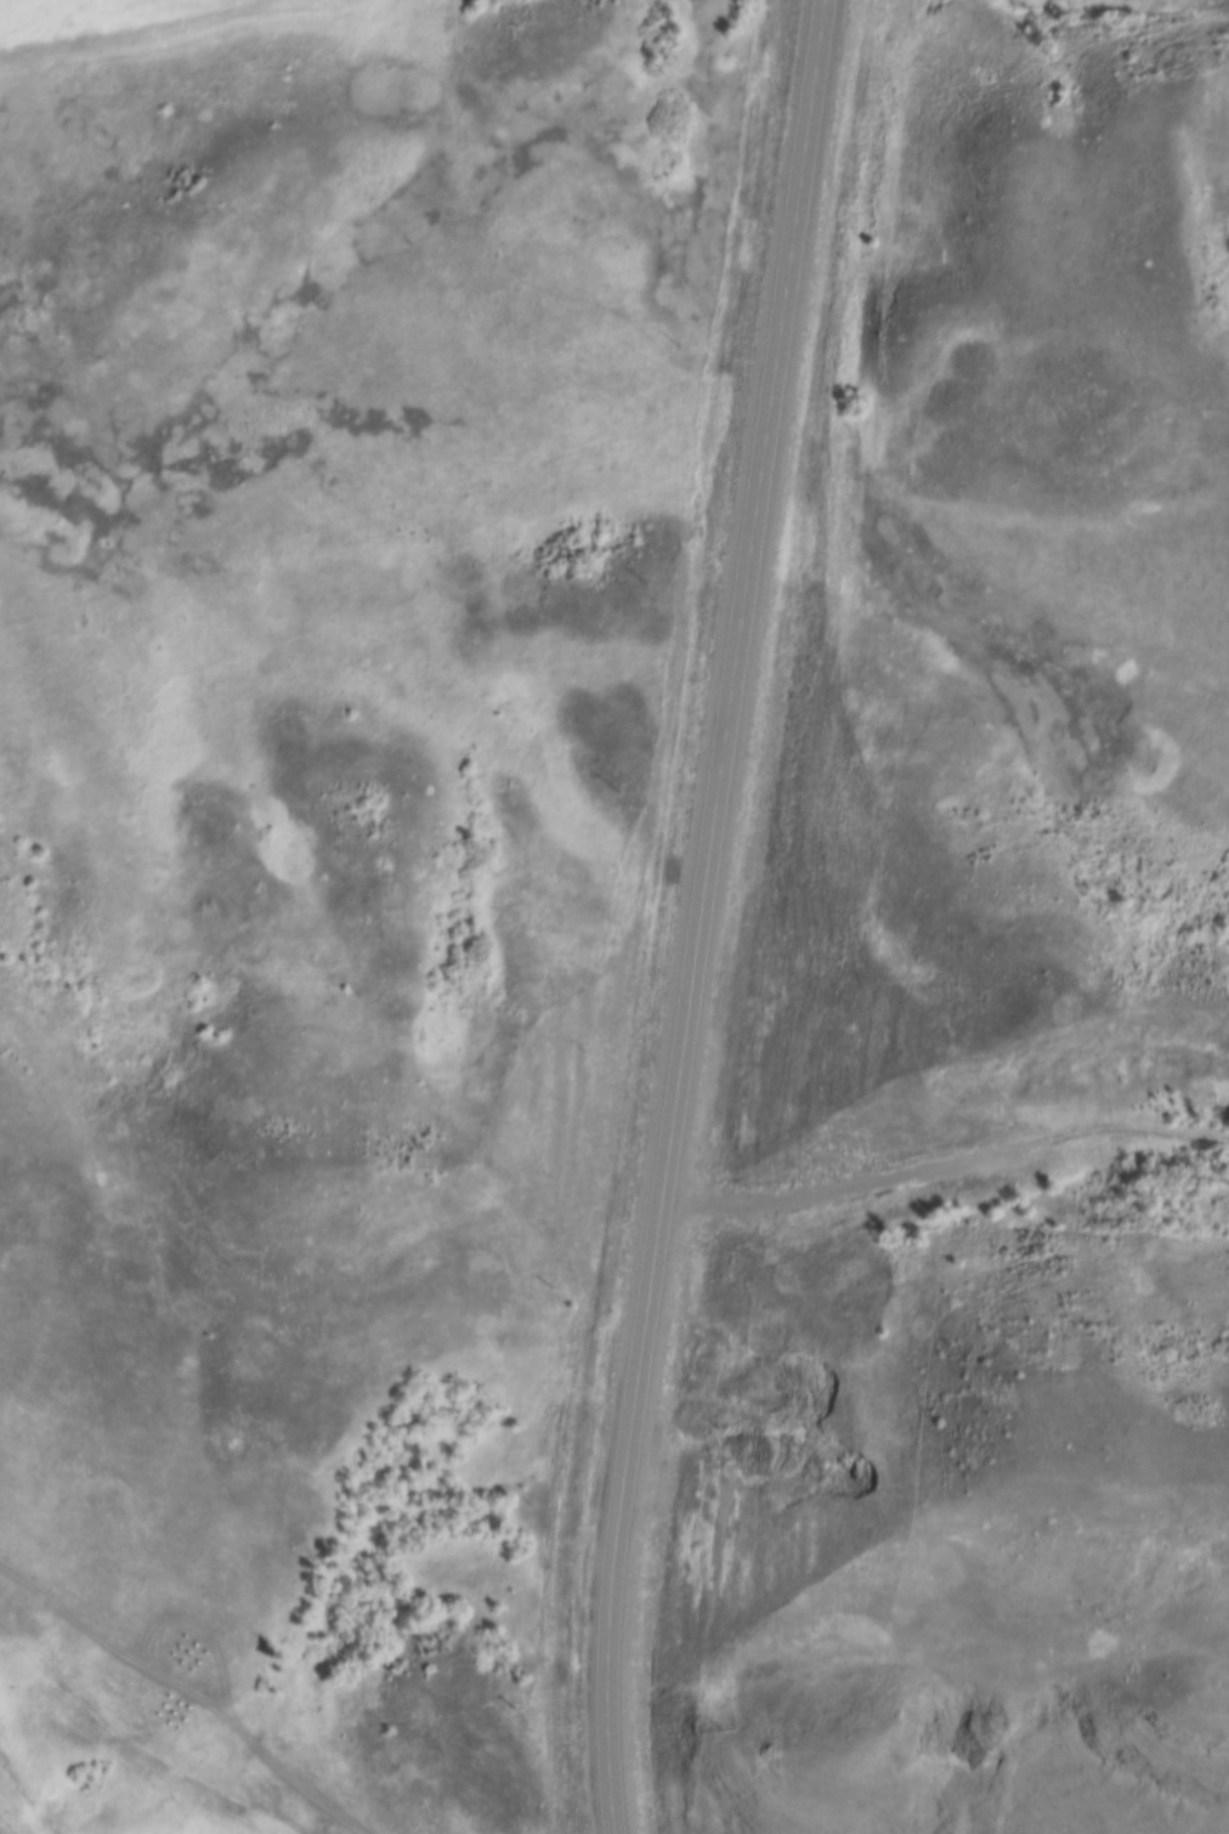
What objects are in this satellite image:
road: (701, 916)
road: (945, 1174)
road: (121, 1756)

